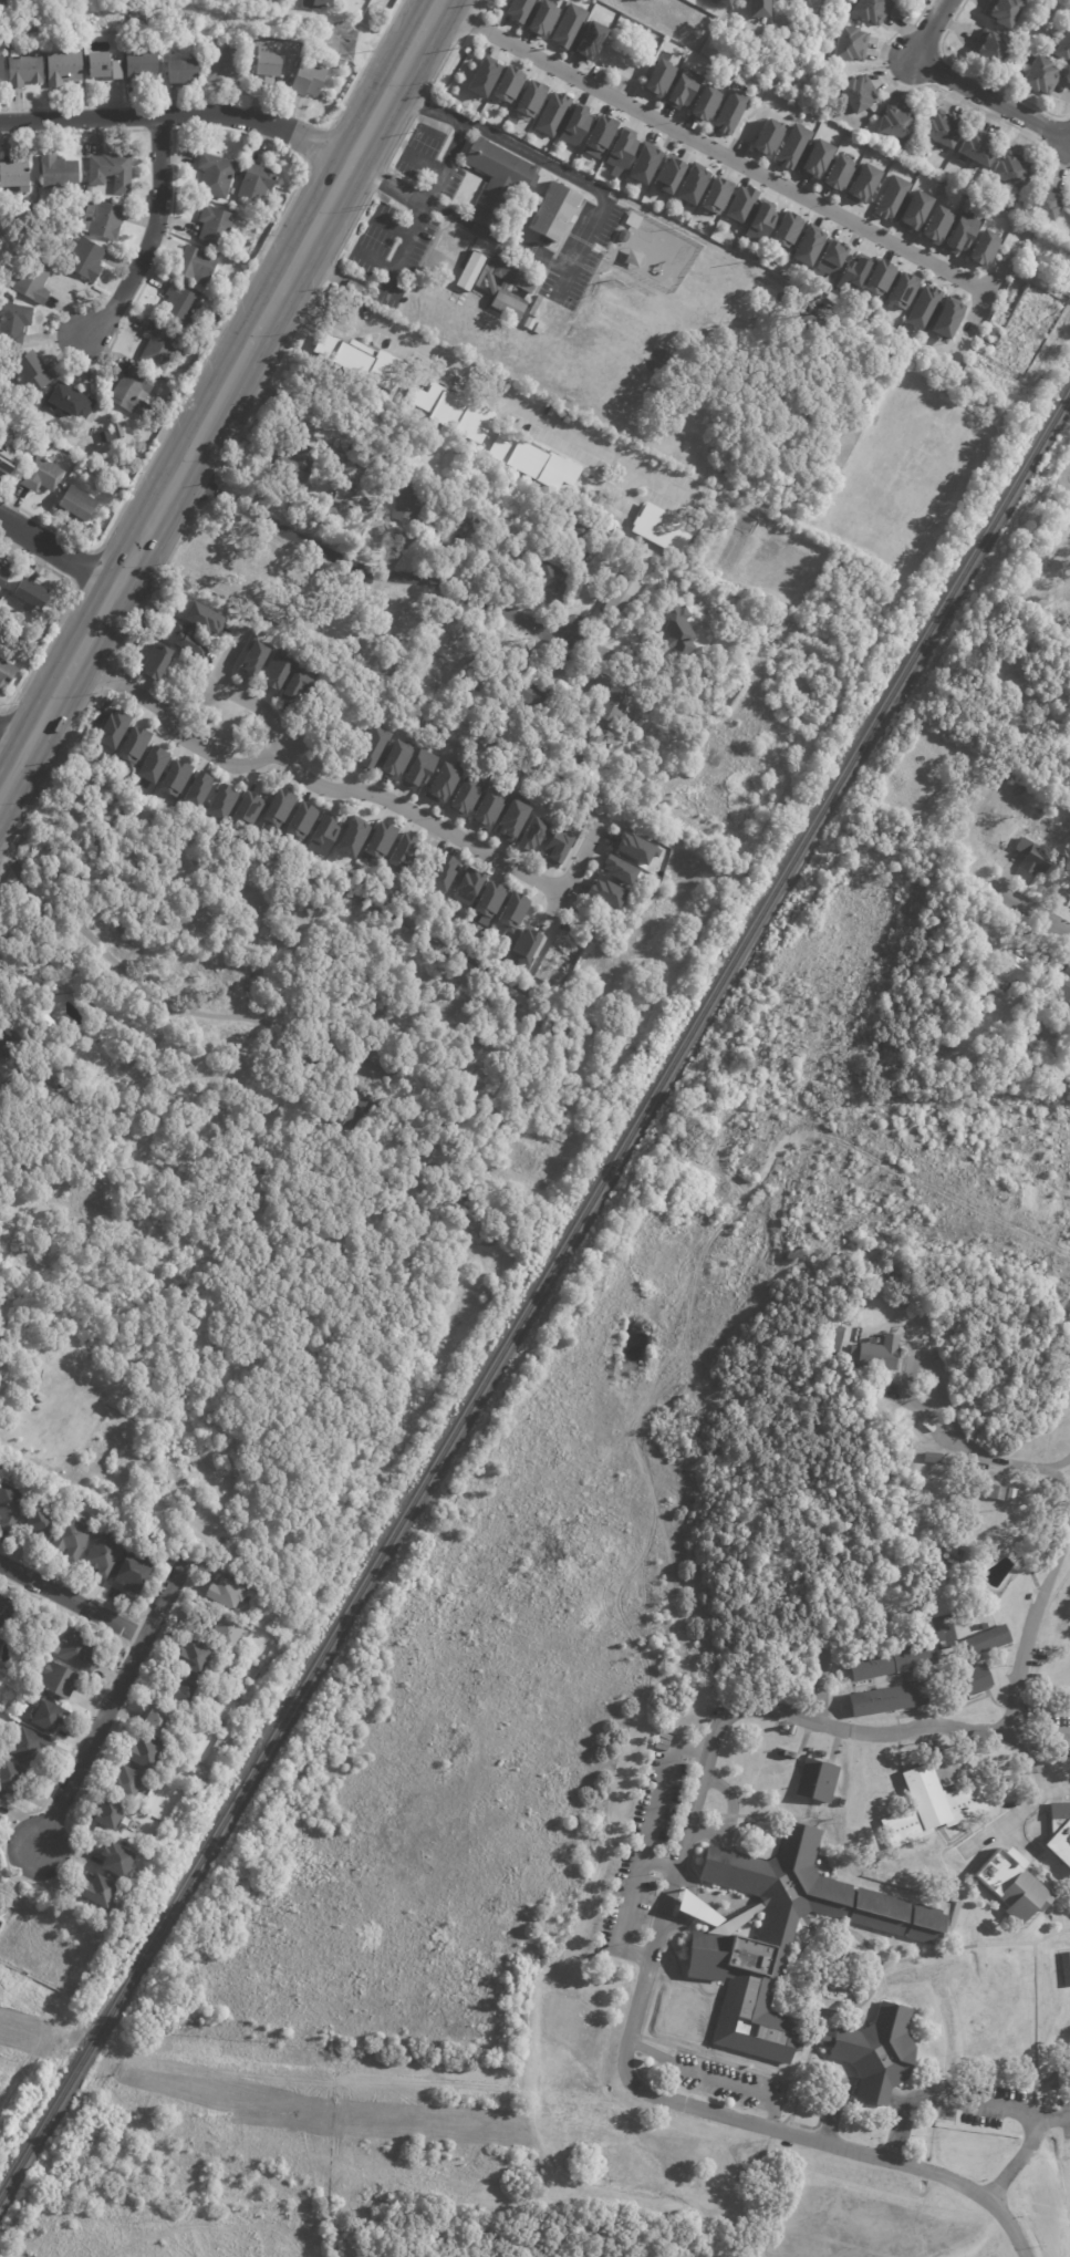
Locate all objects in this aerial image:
building: (70, 0)
building: (261, 0)
building: (264, 0)
building: (724, 1)
building: (729, 1)
building: (316, 4)
road: (476, 4)
building: (579, 8)
building: (760, 9)
building: (518, 10)
building: (872, 10)
building: (1003, 11)
building: (612, 13)
building: (541, 19)
building: (627, 20)
road: (469, 22)
building: (530, 23)
building: (567, 25)
road: (927, 29)
building: (645, 32)
building: (589, 41)
building: (851, 43)
building: (1061, 44)
building: (990, 48)
building: (604, 62)
building: (225, 63)
building: (270, 63)
road: (366, 63)
road: (439, 63)
building: (142, 64)
building: (103, 66)
building: (63, 68)
building: (675, 68)
building: (25, 71)
building: (2, 72)
building: (183, 72)
building: (584, 72)
building: (629, 73)
building: (1038, 75)
road: (977, 76)
building: (481, 77)
building: (657, 77)
building: (308, 79)
building: (607, 82)
building: (507, 85)
road: (941, 89)
building: (681, 90)
building: (860, 93)
building: (529, 99)
road: (990, 99)
building: (704, 103)
road: (417, 105)
building: (729, 112)
building: (551, 113)
road: (178, 115)
building: (573, 126)
building: (896, 126)
road: (159, 130)
building: (943, 131)
road: (73, 132)
building: (598, 136)
building: (767, 138)
road: (396, 141)
road: (319, 146)
building: (791, 146)
road: (709, 147)
building: (979, 148)
building: (620, 152)
road: (536, 157)
building: (814, 159)
building: (642, 164)
building: (111, 170)
building: (1012, 172)
building: (59, 173)
building: (838, 173)
building: (667, 174)
building: (14, 175)
building: (216, 175)
road: (376, 179)
building: (499, 183)
building: (258, 184)
building: (861, 184)
building: (690, 185)
building: (715, 195)
building: (890, 198)
road: (424, 201)
building: (739, 204)
building: (1043, 205)
building: (552, 211)
building: (913, 211)
building: (103, 219)
building: (635, 221)
building: (759, 222)
road: (278, 225)
building: (935, 225)
road: (350, 226)
building: (217, 227)
building: (785, 230)
building: (960, 234)
road: (404, 236)
building: (624, 236)
road: (149, 240)
building: (807, 247)
building: (981, 248)
building: (85, 258)
building: (830, 258)
building: (197, 265)
building: (471, 271)
building: (512, 272)
building: (853, 272)
building: (879, 277)
building: (32, 281)
road: (985, 289)
building: (901, 290)
building: (180, 302)
building: (405, 304)
building: (508, 306)
building: (538, 307)
building: (922, 307)
building: (813, 315)
building: (946, 318)
building: (529, 323)
building: (14, 324)
building: (539, 329)
building: (160, 345)
building: (344, 354)
building: (31, 373)
road: (486, 384)
building: (134, 393)
road: (217, 394)
building: (312, 400)
building: (73, 402)
building: (447, 410)
building: (118, 429)
building: (336, 443)
building: (356, 449)
building: (341, 457)
building: (532, 462)
building: (7, 463)
building: (294, 466)
building: (320, 467)
building: (42, 476)
building: (350, 499)
building: (408, 501)
building: (75, 505)
building: (565, 511)
building: (459, 513)
building: (484, 520)
building: (103, 524)
building: (661, 528)
building: (580, 531)
building: (625, 538)
building: (507, 543)
building: (488, 547)
road: (56, 551)
building: (625, 557)
road: (85, 568)
road: (386, 576)
building: (551, 576)
building: (3, 577)
building: (32, 596)
building: (621, 597)
building: (707, 600)
road: (62, 614)
building: (202, 618)
building: (674, 628)
building: (375, 633)
building: (189, 642)
building: (451, 648)
building: (705, 651)
building: (502, 652)
building: (252, 658)
building: (154, 661)
building: (474, 666)
building: (273, 671)
building: (6, 675)
building: (604, 682)
building: (297, 683)
road: (206, 689)
road: (230, 694)
building: (539, 698)
building: (613, 705)
road: (0, 713)
building: (111, 728)
road: (12, 737)
building: (132, 746)
building: (594, 746)
building: (372, 747)
building: (394, 758)
building: (152, 764)
building: (418, 769)
building: (632, 772)
building: (593, 776)
building: (174, 778)
building: (440, 783)
building: (196, 789)
road: (339, 790)
building: (464, 795)
building: (220, 801)
building: (277, 808)
building: (246, 809)
building: (486, 809)
building: (510, 820)
building: (299, 821)
building: (528, 832)
building: (322, 835)
building: (350, 838)
building: (378, 840)
building: (557, 845)
building: (633, 848)
building: (402, 851)
building: (1030, 858)
building: (613, 869)
building: (441, 873)
building: (466, 886)
building: (602, 892)
building: (485, 898)
building: (511, 911)
road: (1033, 911)
building: (522, 945)
building: (1009, 974)
building: (361, 979)
building: (1060, 1001)
road: (1, 1003)
building: (983, 1004)
building: (977, 1014)
building: (44, 1017)
building: (6, 1046)
building: (385, 1059)
building: (408, 1073)
building: (1024, 1074)
building: (357, 1108)
building: (257, 1145)
building: (266, 1176)
road: (429, 1181)
railway: (533, 1294)
building: (837, 1344)
building: (876, 1353)
road: (908, 1360)
building: (935, 1459)
road: (1017, 1464)
building: (997, 1493)
building: (1014, 1495)
building: (11, 1507)
building: (41, 1523)
road: (1069, 1532)
building: (72, 1540)
building: (104, 1556)
building: (133, 1573)
building: (227, 1595)
road: (72, 1601)
road: (101, 1601)
building: (7, 1612)
road: (156, 1615)
road: (1029, 1619)
road: (128, 1629)
building: (227, 1634)
building: (986, 1638)
building: (0, 1643)
building: (77, 1652)
building: (194, 1658)
building: (891, 1658)
building: (1042, 1660)
building: (976, 1678)
building: (59, 1681)
building: (185, 1692)
building: (885, 1700)
road: (111, 1702)
building: (224, 1718)
building: (50, 1719)
building: (159, 1726)
building: (793, 1730)
road: (1045, 1738)
parking lot: (1053, 1738)
road: (1020, 1741)
building: (30, 1747)
building: (144, 1754)
building: (184, 1764)
building: (812, 1777)
building: (11, 1779)
building: (125, 1783)
building: (0, 1800)
building: (929, 1804)
building: (108, 1815)
road: (728, 1816)
building: (1059, 1830)
road: (0, 1839)
road: (644, 1846)
parking lot: (646, 1846)
building: (116, 1863)
road: (658, 1863)
road: (8, 1871)
road: (685, 1878)
building: (1010, 1886)
building: (100, 1892)
road: (688, 1903)
road: (673, 1923)
road: (654, 1939)
building: (736, 1960)
building: (1064, 1969)
road: (43, 2031)
road: (713, 2078)
building: (1062, 2078)
road: (871, 2095)
road: (962, 2102)
parking lot: (977, 2105)
road: (833, 2110)
parking lot: (1063, 2116)
road: (896, 2133)
road: (1025, 2149)
road: (1006, 2226)

